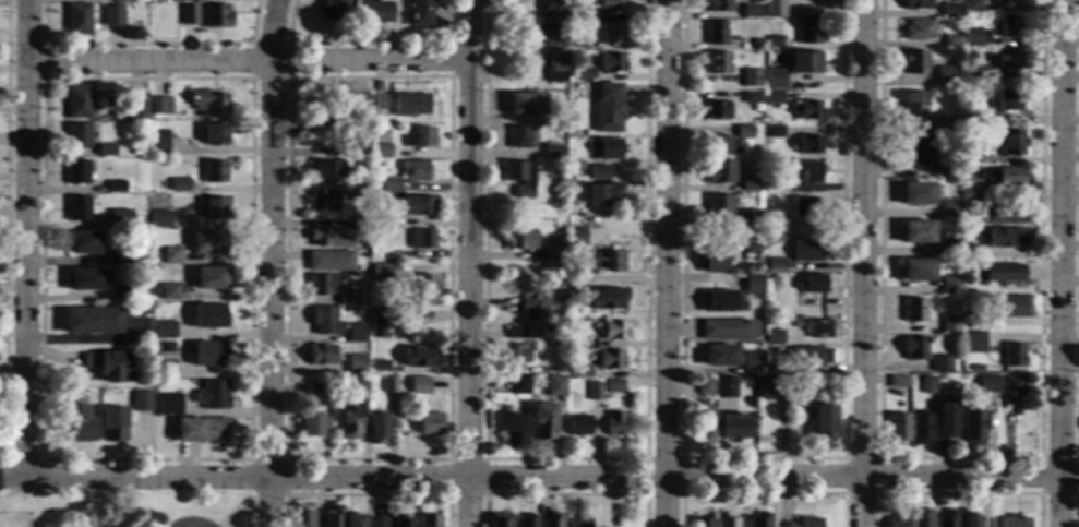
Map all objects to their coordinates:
building: (121, 0)
building: (184, 0)
building: (1007, 1)
building: (916, 4)
building: (611, 5)
building: (718, 5)
building: (972, 5)
building: (774, 9)
building: (331, 10)
building: (550, 10)
building: (949, 10)
building: (751, 11)
building: (375, 12)
building: (583, 12)
building: (420, 13)
building: (188, 14)
building: (111, 15)
building: (215, 15)
building: (77, 20)
building: (1008, 26)
building: (918, 29)
building: (808, 32)
building: (611, 33)
building: (716, 33)
building: (549, 35)
building: (972, 36)
road: (365, 41)
building: (578, 41)
building: (774, 41)
building: (950, 41)
road: (251, 44)
building: (755, 44)
road: (448, 59)
building: (1007, 60)
road: (279, 62)
building: (611, 62)
building: (806, 62)
building: (915, 62)
building: (717, 63)
building: (553, 65)
building: (584, 73)
building: (979, 73)
building: (948, 76)
building: (751, 79)
building: (775, 79)
building: (751, 98)
building: (774, 98)
building: (208, 101)
building: (1007, 101)
building: (76, 103)
building: (376, 103)
building: (525, 104)
building: (134, 105)
building: (409, 105)
building: (914, 105)
building: (159, 106)
building: (608, 108)
building: (716, 109)
building: (350, 110)
building: (807, 110)
building: (319, 111)
building: (317, 121)
building: (954, 121)
building: (978, 121)
building: (966, 123)
building: (939, 125)
building: (356, 128)
building: (743, 132)
building: (774, 132)
building: (215, 133)
building: (76, 136)
building: (419, 137)
building: (520, 137)
building: (377, 140)
building: (158, 142)
building: (1011, 143)
building: (810, 144)
building: (715, 145)
building: (356, 146)
building: (607, 148)
building: (104, 151)
building: (133, 151)
building: (380, 151)
building: (551, 151)
building: (915, 151)
building: (970, 156)
building: (325, 169)
building: (413, 170)
building: (943, 170)
building: (75, 172)
building: (214, 172)
building: (598, 172)
building: (718, 172)
building: (808, 172)
building: (957, 173)
building: (1002, 175)
building: (518, 177)
building: (180, 184)
building: (384, 185)
building: (775, 185)
building: (115, 187)
building: (747, 187)
building: (356, 190)
building: (971, 191)
building: (602, 193)
building: (918, 194)
building: (322, 200)
building: (718, 205)
building: (417, 206)
building: (77, 207)
building: (805, 207)
building: (214, 208)
building: (949, 209)
building: (1003, 215)
building: (745, 218)
building: (120, 219)
building: (159, 219)
building: (379, 219)
building: (134, 221)
building: (586, 223)
building: (358, 227)
building: (777, 227)
building: (916, 231)
road: (1075, 231)
building: (393, 235)
building: (1006, 237)
road: (24, 238)
building: (328, 238)
building: (573, 238)
building: (420, 239)
building: (519, 240)
building: (207, 242)
building: (82, 243)
building: (750, 247)
building: (948, 248)
building: (553, 249)
building: (805, 251)
building: (373, 252)
building: (968, 252)
building: (119, 255)
building: (156, 256)
building: (170, 256)
building: (328, 261)
building: (608, 262)
building: (711, 262)
road: (269, 263)
road: (663, 263)
road: (863, 263)
road: (1062, 263)
building: (775, 265)
building: (364, 271)
building: (916, 271)
building: (379, 274)
building: (1002, 274)
building: (211, 278)
building: (85, 279)
building: (772, 280)
building: (575, 284)
building: (812, 284)
building: (321, 285)
building: (753, 285)
building: (949, 285)
building: (422, 288)
building: (124, 291)
building: (153, 291)
building: (169, 292)
road: (466, 294)
building: (559, 295)
building: (606, 298)
building: (344, 300)
building: (719, 301)
building: (533, 307)
building: (1008, 307)
building: (913, 310)
building: (400, 314)
building: (208, 316)
building: (91, 320)
building: (968, 320)
building: (324, 321)
building: (949, 323)
building: (376, 324)
building: (567, 327)
building: (165, 330)
building: (726, 330)
building: (816, 330)
building: (529, 331)
building: (611, 331)
building: (355, 333)
building: (774, 337)
building: (972, 343)
building: (169, 347)
building: (913, 348)
building: (209, 354)
building: (321, 355)
building: (1011, 355)
building: (512, 356)
building: (719, 356)
building: (807, 356)
building: (419, 357)
building: (609, 359)
building: (750, 361)
building: (356, 363)
building: (109, 364)
building: (939, 364)
building: (377, 367)
building: (767, 368)
building: (975, 368)
building: (165, 369)
building: (578, 371)
building: (940, 376)
building: (898, 382)
building: (388, 384)
building: (987, 384)
building: (356, 385)
building: (418, 385)
building: (519, 385)
building: (612, 385)
building: (800, 385)
building: (926, 385)
building: (553, 386)
building: (704, 387)
building: (723, 387)
building: (314, 390)
building: (769, 390)
building: (592, 391)
building: (212, 394)
building: (1010, 395)
building: (142, 402)
building: (168, 405)
building: (1017, 411)
building: (946, 418)
building: (348, 421)
building: (542, 421)
building: (76, 423)
building: (112, 423)
building: (613, 423)
building: (822, 423)
building: (313, 424)
building: (429, 424)
building: (577, 424)
building: (704, 424)
building: (732, 427)
building: (374, 428)
building: (971, 428)
building: (201, 429)
building: (897, 429)
building: (920, 429)
building: (513, 431)
road: (759, 458)
road: (877, 458)
road: (959, 458)
road: (1075, 458)
road: (284, 459)
road: (482, 459)
road: (555, 459)
road: (679, 459)
road: (283, 460)
road: (11, 476)
road: (550, 478)
road: (762, 494)
road: (958, 494)
road: (364, 495)
road: (563, 495)
park: (128, 507)
road: (1075, 508)
road: (230, 510)
building: (332, 516)
building: (300, 517)
building: (920, 518)
building: (945, 519)
building: (968, 519)
building: (352, 520)
building: (400, 520)
building: (428, 520)
building: (499, 520)
building: (550, 520)
building: (724, 520)
building: (757, 520)
building: (526, 522)
building: (577, 522)
building: (896, 522)
building: (1014, 522)
building: (375, 523)
building: (700, 523)
building: (807, 523)
building: (784, 525)
building: (97, 526)

